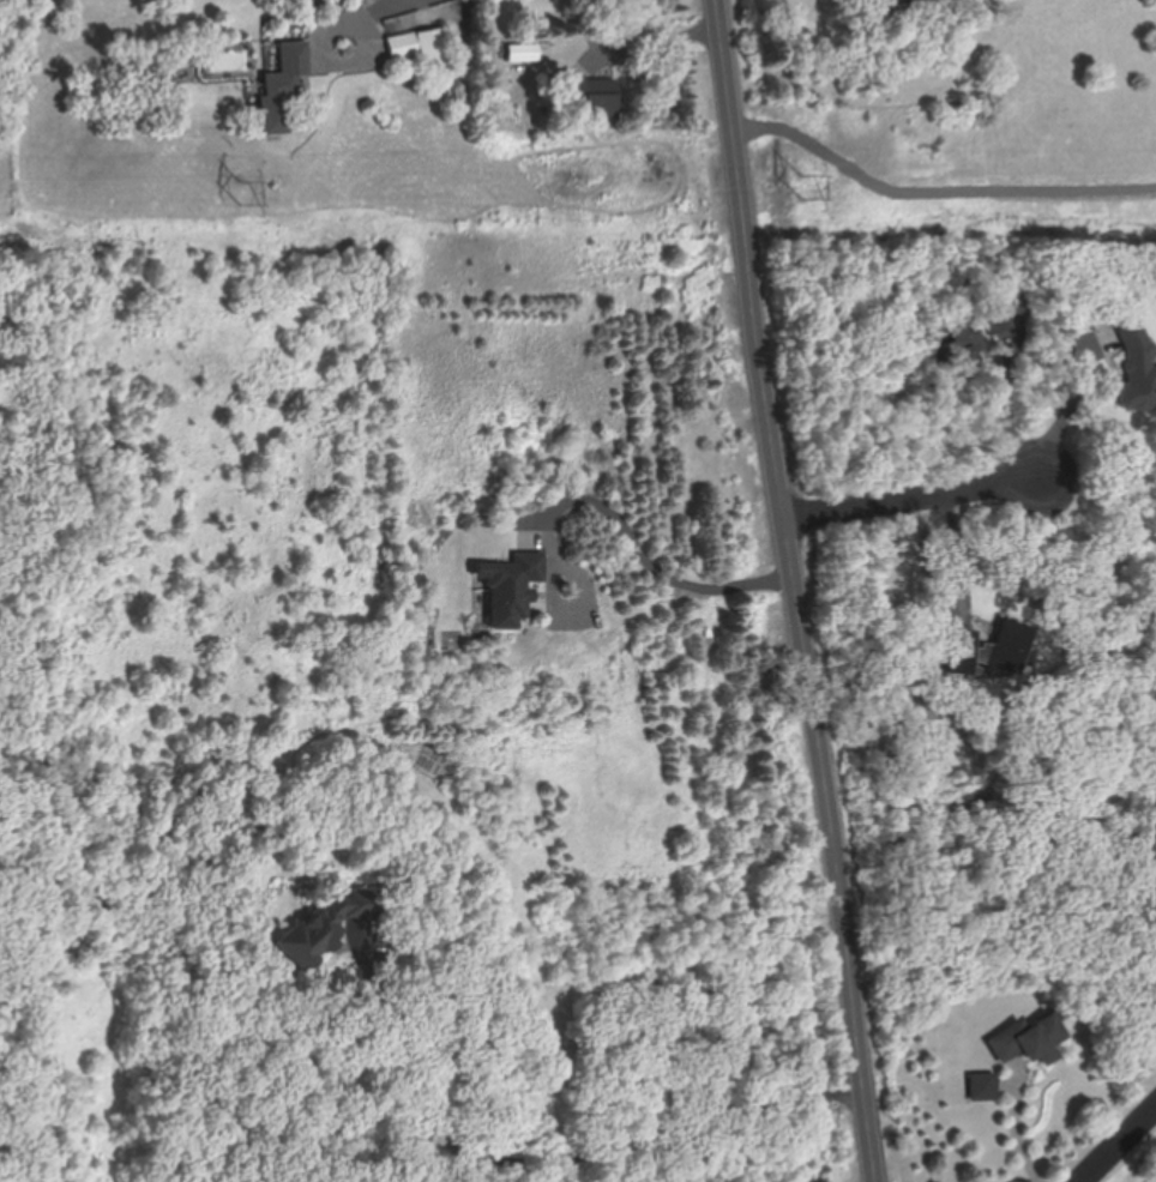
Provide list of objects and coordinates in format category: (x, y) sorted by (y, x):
building: (889, 1)
road: (367, 25)
road: (648, 42)
building: (423, 47)
building: (285, 85)
building: (603, 97)
power tower: (247, 199)
power tower: (802, 200)
building: (993, 318)
building: (959, 343)
building: (1134, 357)
road: (1066, 414)
road: (1010, 417)
road: (916, 495)
road: (573, 569)
building: (514, 587)
road: (800, 590)
building: (451, 779)
building: (327, 925)
building: (1024, 1039)
road: (419, 1049)
road: (354, 1085)
building: (979, 1086)
road: (1016, 1132)
road: (1114, 1140)
park: (1154, 1180)

